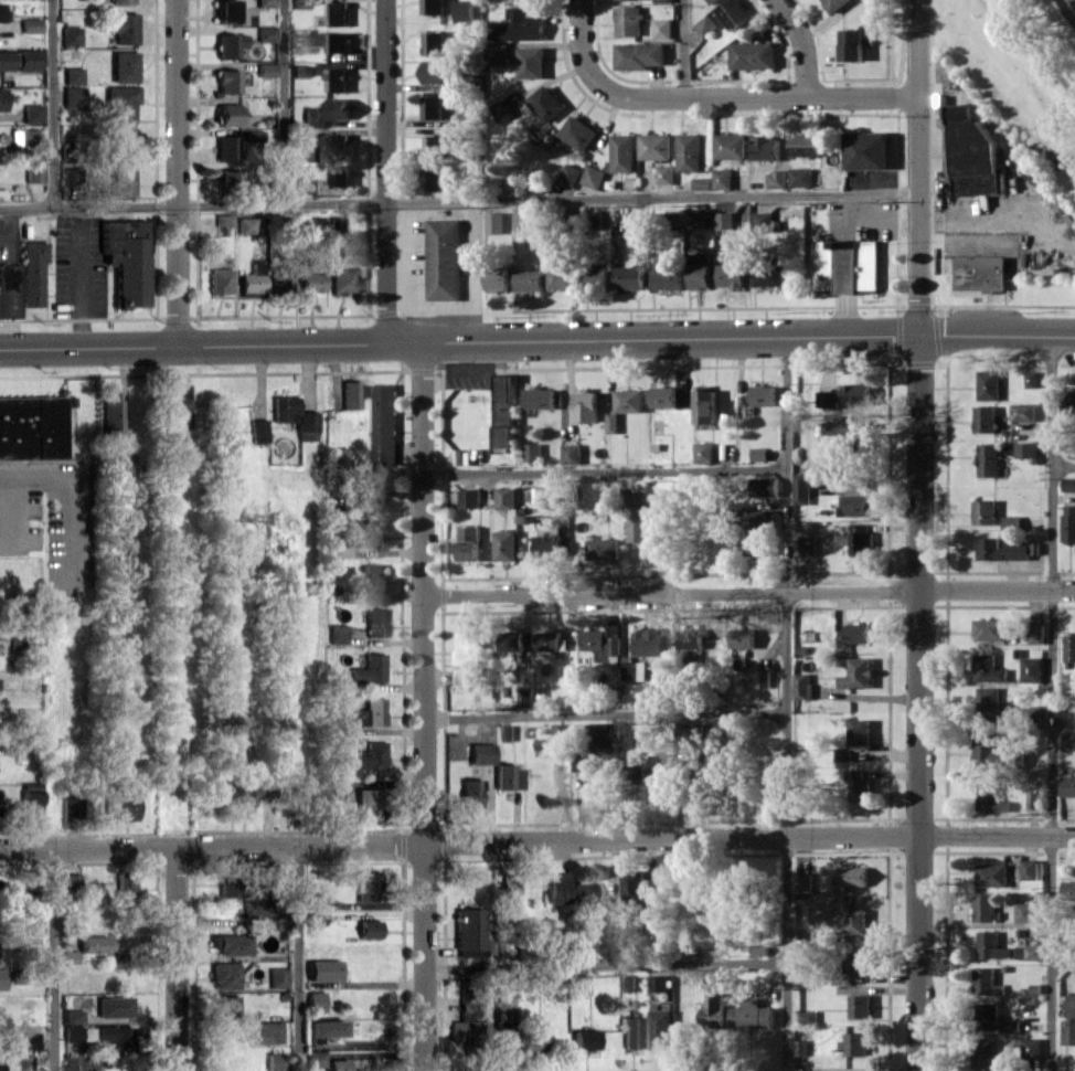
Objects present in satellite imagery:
building: (534, 0)
building: (120, 1)
building: (662, 1)
building: (712, 1)
building: (264, 2)
building: (1073, 2)
building: (300, 3)
building: (834, 3)
building: (433, 7)
building: (225, 10)
building: (465, 10)
building: (2, 11)
road: (1065, 11)
building: (734, 12)
road: (786, 14)
building: (627, 20)
building: (30, 24)
building: (521, 24)
building: (705, 25)
building: (124, 26)
building: (661, 28)
building: (265, 33)
building: (70, 35)
building: (331, 40)
building: (856, 41)
building: (434, 43)
building: (227, 44)
road: (1037, 47)
road: (683, 50)
road: (579, 51)
building: (498, 52)
building: (753, 54)
building: (639, 55)
building: (29, 59)
building: (4, 60)
building: (531, 62)
road: (805, 62)
building: (123, 66)
building: (265, 68)
building: (299, 70)
building: (432, 72)
building: (72, 75)
building: (337, 79)
building: (226, 81)
building: (72, 97)
building: (1, 98)
road: (762, 98)
building: (119, 102)
road: (280, 102)
building: (545, 103)
road: (51, 104)
building: (432, 106)
building: (338, 108)
building: (31, 113)
building: (957, 113)
building: (227, 114)
building: (312, 116)
building: (577, 132)
building: (252, 135)
building: (26, 136)
building: (120, 138)
building: (730, 145)
building: (805, 145)
building: (340, 146)
building: (435, 146)
building: (654, 146)
building: (225, 147)
building: (766, 147)
building: (866, 150)
building: (305, 151)
building: (622, 152)
building: (689, 152)
building: (973, 157)
road: (385, 170)
building: (32, 171)
road: (174, 171)
building: (570, 173)
building: (663, 173)
building: (338, 174)
building: (68, 176)
building: (593, 176)
building: (226, 177)
building: (800, 177)
building: (433, 178)
building: (722, 178)
building: (776, 178)
building: (121, 179)
building: (701, 182)
building: (306, 184)
road: (459, 201)
building: (696, 218)
building: (222, 219)
building: (724, 220)
building: (523, 221)
building: (494, 222)
building: (634, 222)
building: (763, 222)
building: (245, 224)
building: (316, 224)
building: (444, 258)
building: (126, 259)
building: (845, 265)
road: (470, 269)
building: (31, 272)
building: (979, 273)
building: (598, 274)
building: (701, 275)
building: (731, 275)
building: (769, 275)
building: (311, 276)
building: (629, 276)
building: (562, 277)
building: (668, 277)
building: (343, 278)
building: (220, 279)
building: (498, 279)
building: (529, 279)
building: (252, 280)
building: (280, 282)
building: (8, 290)
road: (536, 338)
building: (1031, 379)
building: (989, 384)
building: (352, 393)
building: (760, 395)
building: (844, 395)
building: (663, 396)
building: (540, 397)
building: (629, 400)
building: (1068, 403)
building: (177, 404)
building: (705, 404)
building: (586, 405)
building: (505, 411)
building: (1022, 412)
building: (108, 413)
building: (294, 416)
building: (984, 418)
building: (613, 422)
building: (384, 423)
building: (31, 426)
building: (851, 428)
building: (257, 430)
building: (1025, 449)
building: (532, 452)
building: (703, 452)
building: (759, 453)
building: (572, 454)
building: (336, 457)
building: (988, 459)
building: (121, 462)
road: (1064, 468)
road: (604, 473)
building: (1068, 484)
building: (764, 486)
building: (801, 488)
building: (365, 491)
road: (68, 496)
building: (550, 496)
building: (469, 497)
building: (505, 498)
building: (856, 505)
building: (984, 511)
building: (637, 512)
road: (20, 519)
building: (1011, 522)
building: (1068, 523)
building: (371, 532)
building: (757, 532)
road: (920, 534)
building: (859, 539)
building: (468, 542)
building: (505, 544)
building: (340, 545)
building: (807, 545)
building: (549, 547)
building: (603, 548)
building: (1002, 549)
road: (748, 593)
building: (375, 622)
building: (990, 629)
building: (337, 633)
building: (854, 633)
building: (1035, 634)
building: (743, 637)
building: (512, 639)
building: (551, 641)
building: (648, 641)
building: (1069, 648)
building: (469, 658)
building: (987, 668)
building: (1031, 669)
building: (634, 670)
building: (858, 672)
building: (763, 678)
building: (802, 686)
building: (524, 697)
road: (786, 702)
road: (1054, 702)
road: (423, 704)
building: (991, 704)
building: (362, 714)
road: (604, 714)
road: (1065, 715)
building: (712, 730)
building: (607, 733)
building: (860, 733)
building: (555, 738)
building: (1067, 740)
building: (986, 750)
building: (481, 752)
building: (843, 754)
building: (366, 759)
building: (583, 762)
building: (662, 765)
building: (508, 776)
building: (1067, 785)
building: (858, 786)
building: (469, 793)
building: (30, 797)
building: (241, 797)
building: (990, 798)
building: (366, 803)
building: (71, 805)
building: (121, 806)
road: (537, 840)
building: (1029, 869)
building: (270, 873)
building: (992, 874)
building: (852, 877)
building: (72, 880)
building: (802, 882)
building: (125, 884)
building: (227, 884)
building: (366, 886)
building: (634, 886)
building: (555, 887)
building: (507, 890)
building: (1068, 890)
building: (583, 891)
building: (313, 900)
building: (984, 908)
building: (1024, 912)
building: (31, 913)
building: (313, 919)
building: (856, 921)
building: (368, 927)
building: (468, 927)
building: (584, 942)
building: (94, 943)
building: (228, 943)
building: (990, 945)
building: (759, 948)
building: (1029, 952)
building: (67, 956)
road: (52, 957)
road: (173, 957)
road: (297, 957)
road: (1063, 961)
building: (860, 963)
road: (605, 964)
building: (322, 969)
building: (223, 975)
building: (276, 976)
building: (1, 977)
building: (986, 980)
building: (628, 983)
building: (659, 983)
building: (578, 984)
building: (503, 996)
building: (313, 1000)
building: (223, 1005)
building: (1071, 1005)
building: (113, 1006)
building: (860, 1006)
building: (713, 1011)
building: (752, 1014)
building: (72, 1015)
building: (808, 1016)
building: (988, 1016)
building: (467, 1025)
building: (1012, 1025)
building: (324, 1027)
building: (660, 1029)
building: (266, 1031)
building: (631, 1031)
building: (1068, 1031)
building: (72, 1032)
building: (115, 1036)
building: (29, 1039)
building: (532, 1039)
building: (584, 1039)
building: (855, 1042)
building: (1031, 1048)
building: (984, 1052)
building: (315, 1058)
building: (274, 1061)
building: (78, 1062)
building: (337, 1064)
building: (1, 1065)

